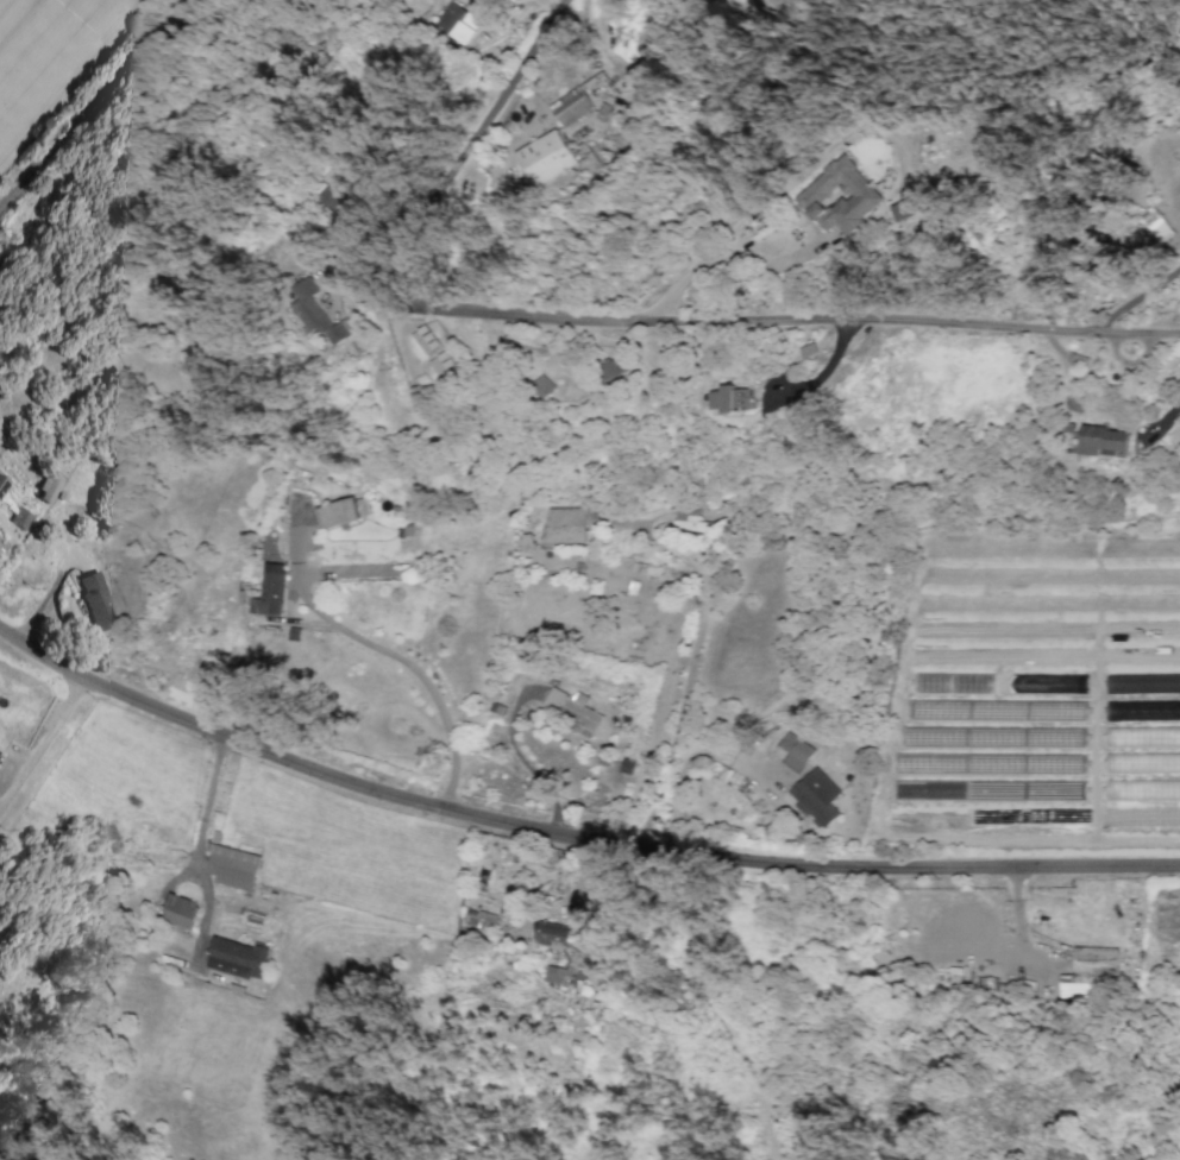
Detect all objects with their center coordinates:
building: (773, 2)
building: (657, 19)
building: (459, 20)
road: (95, 106)
building: (571, 106)
building: (545, 157)
building: (332, 195)
building: (840, 196)
building: (910, 207)
building: (1157, 223)
building: (318, 313)
road: (605, 326)
building: (425, 339)
building: (441, 364)
building: (613, 367)
building: (728, 398)
building: (1101, 439)
building: (2, 484)
building: (46, 488)
building: (337, 512)
building: (20, 517)
building: (691, 522)
building: (564, 525)
road: (344, 570)
building: (274, 588)
building: (94, 599)
road: (414, 669)
building: (1044, 682)
building: (570, 708)
building: (1143, 736)
building: (793, 751)
road: (42, 752)
building: (815, 799)
road: (569, 837)
road: (196, 846)
building: (180, 910)
building: (478, 919)
building: (550, 937)
building: (573, 939)
building: (238, 958)
building: (1088, 971)
building: (564, 979)

